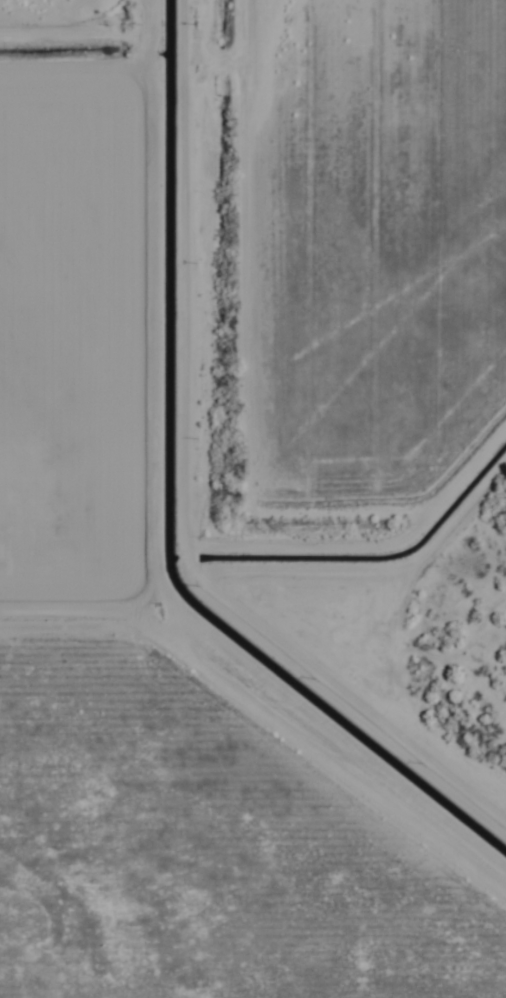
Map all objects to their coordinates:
crop: (233, 472)

